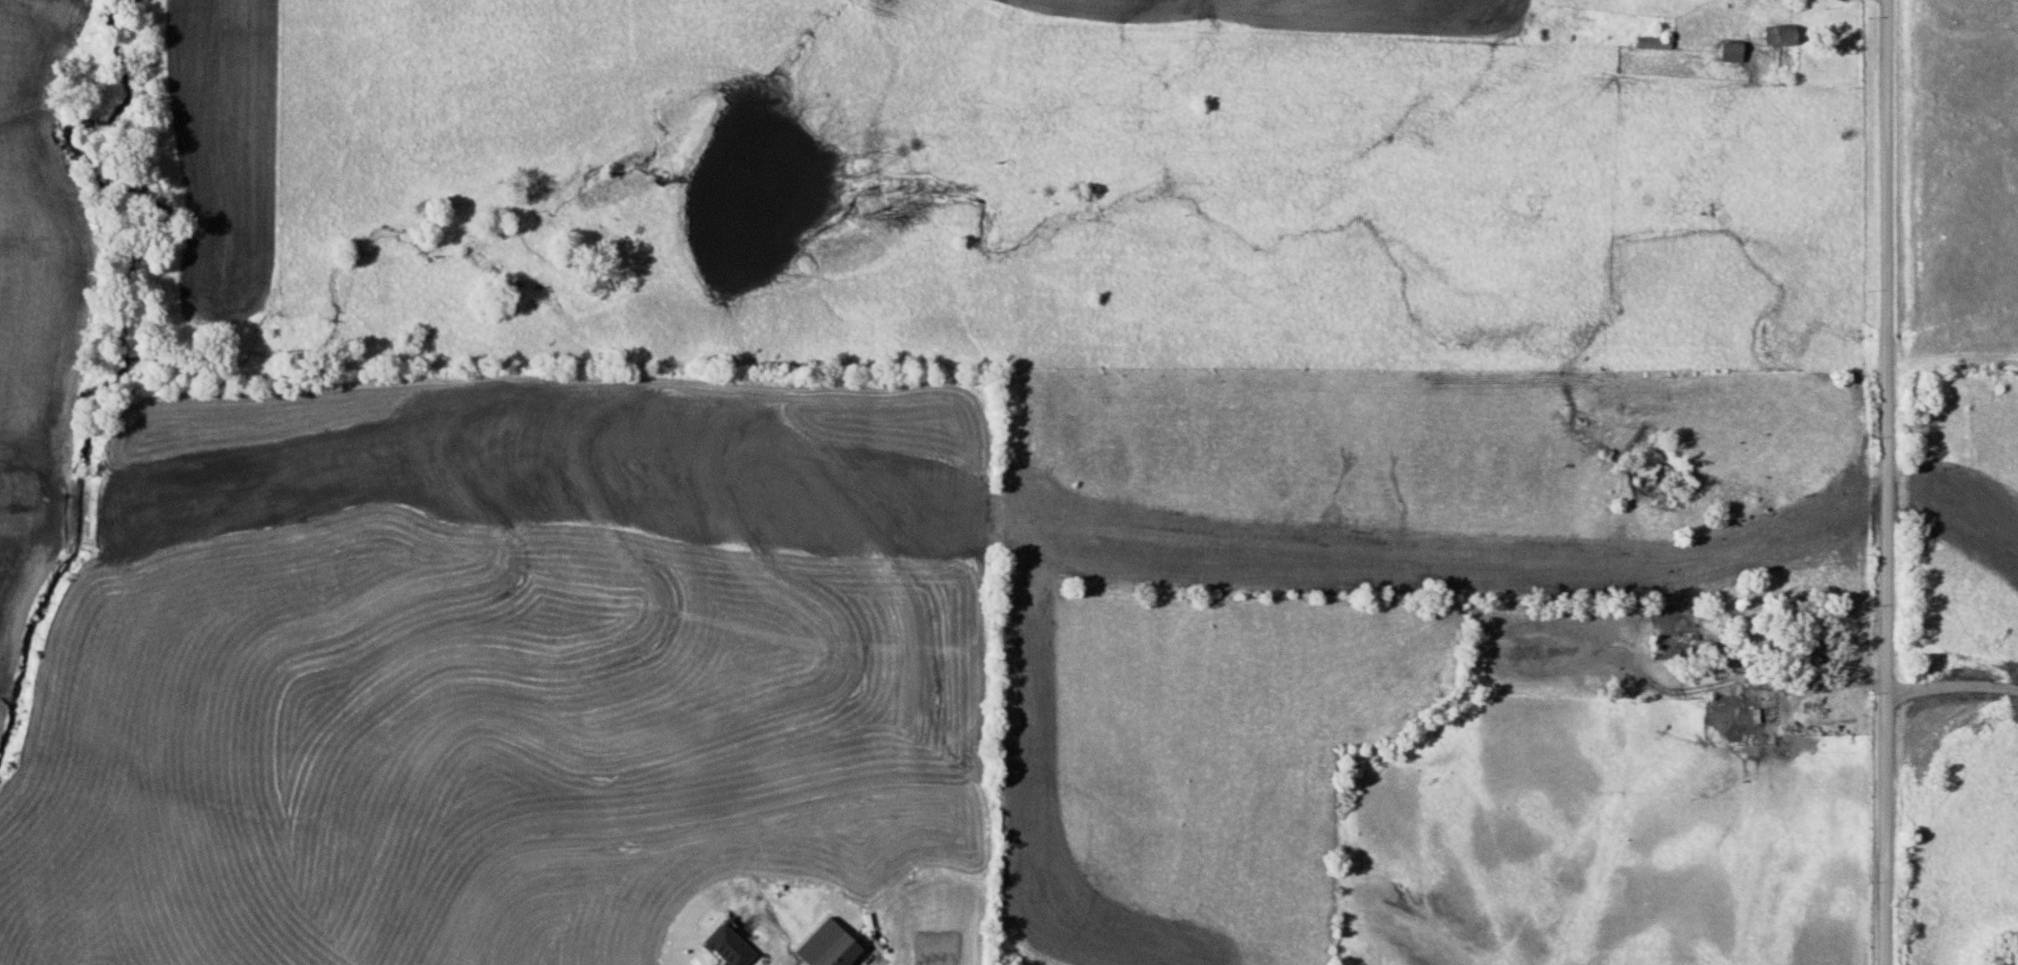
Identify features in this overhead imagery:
building: (1774, 34)
building: (1725, 50)
road: (1883, 482)
building: (1742, 716)

